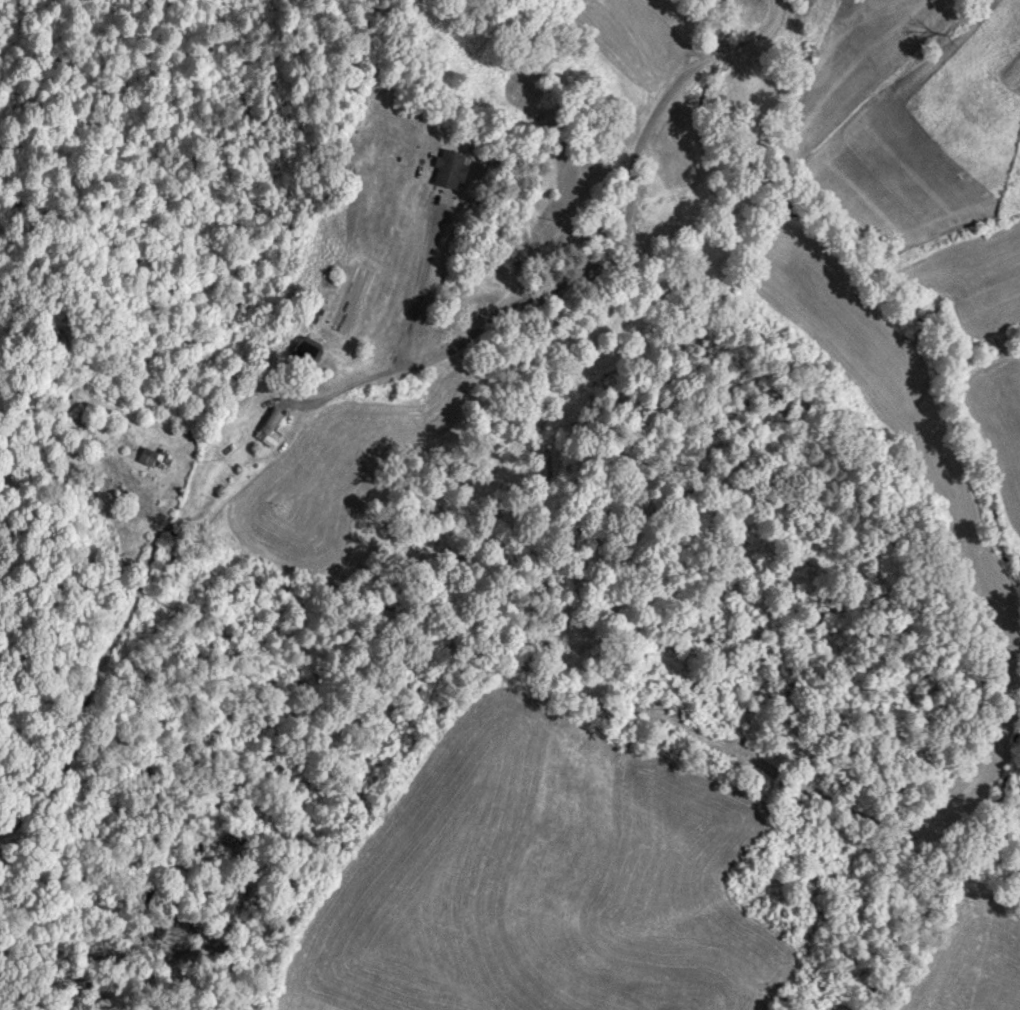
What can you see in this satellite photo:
building: (446, 168)
building: (266, 428)
building: (146, 456)
road: (64, 832)

